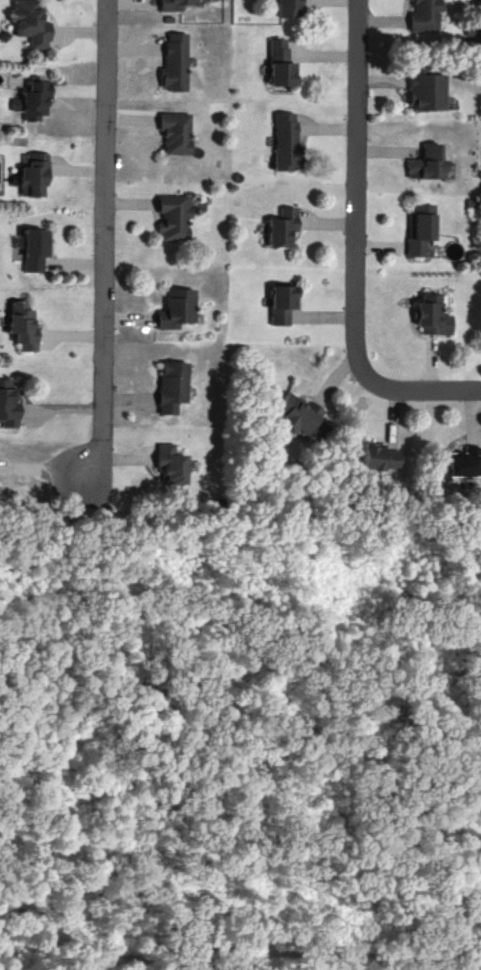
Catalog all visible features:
building: (176, 5)
building: (292, 10)
building: (426, 16)
building: (31, 24)
building: (176, 65)
building: (282, 69)
building: (427, 91)
building: (36, 103)
building: (177, 134)
building: (286, 145)
building: (428, 166)
building: (35, 178)
road: (358, 191)
building: (175, 220)
building: (284, 231)
building: (422, 232)
road: (108, 241)
building: (36, 252)
building: (283, 305)
building: (178, 310)
building: (432, 317)
building: (24, 330)
building: (173, 389)
road: (423, 392)
building: (9, 407)
building: (296, 417)
building: (379, 460)
building: (464, 465)
building: (173, 468)

